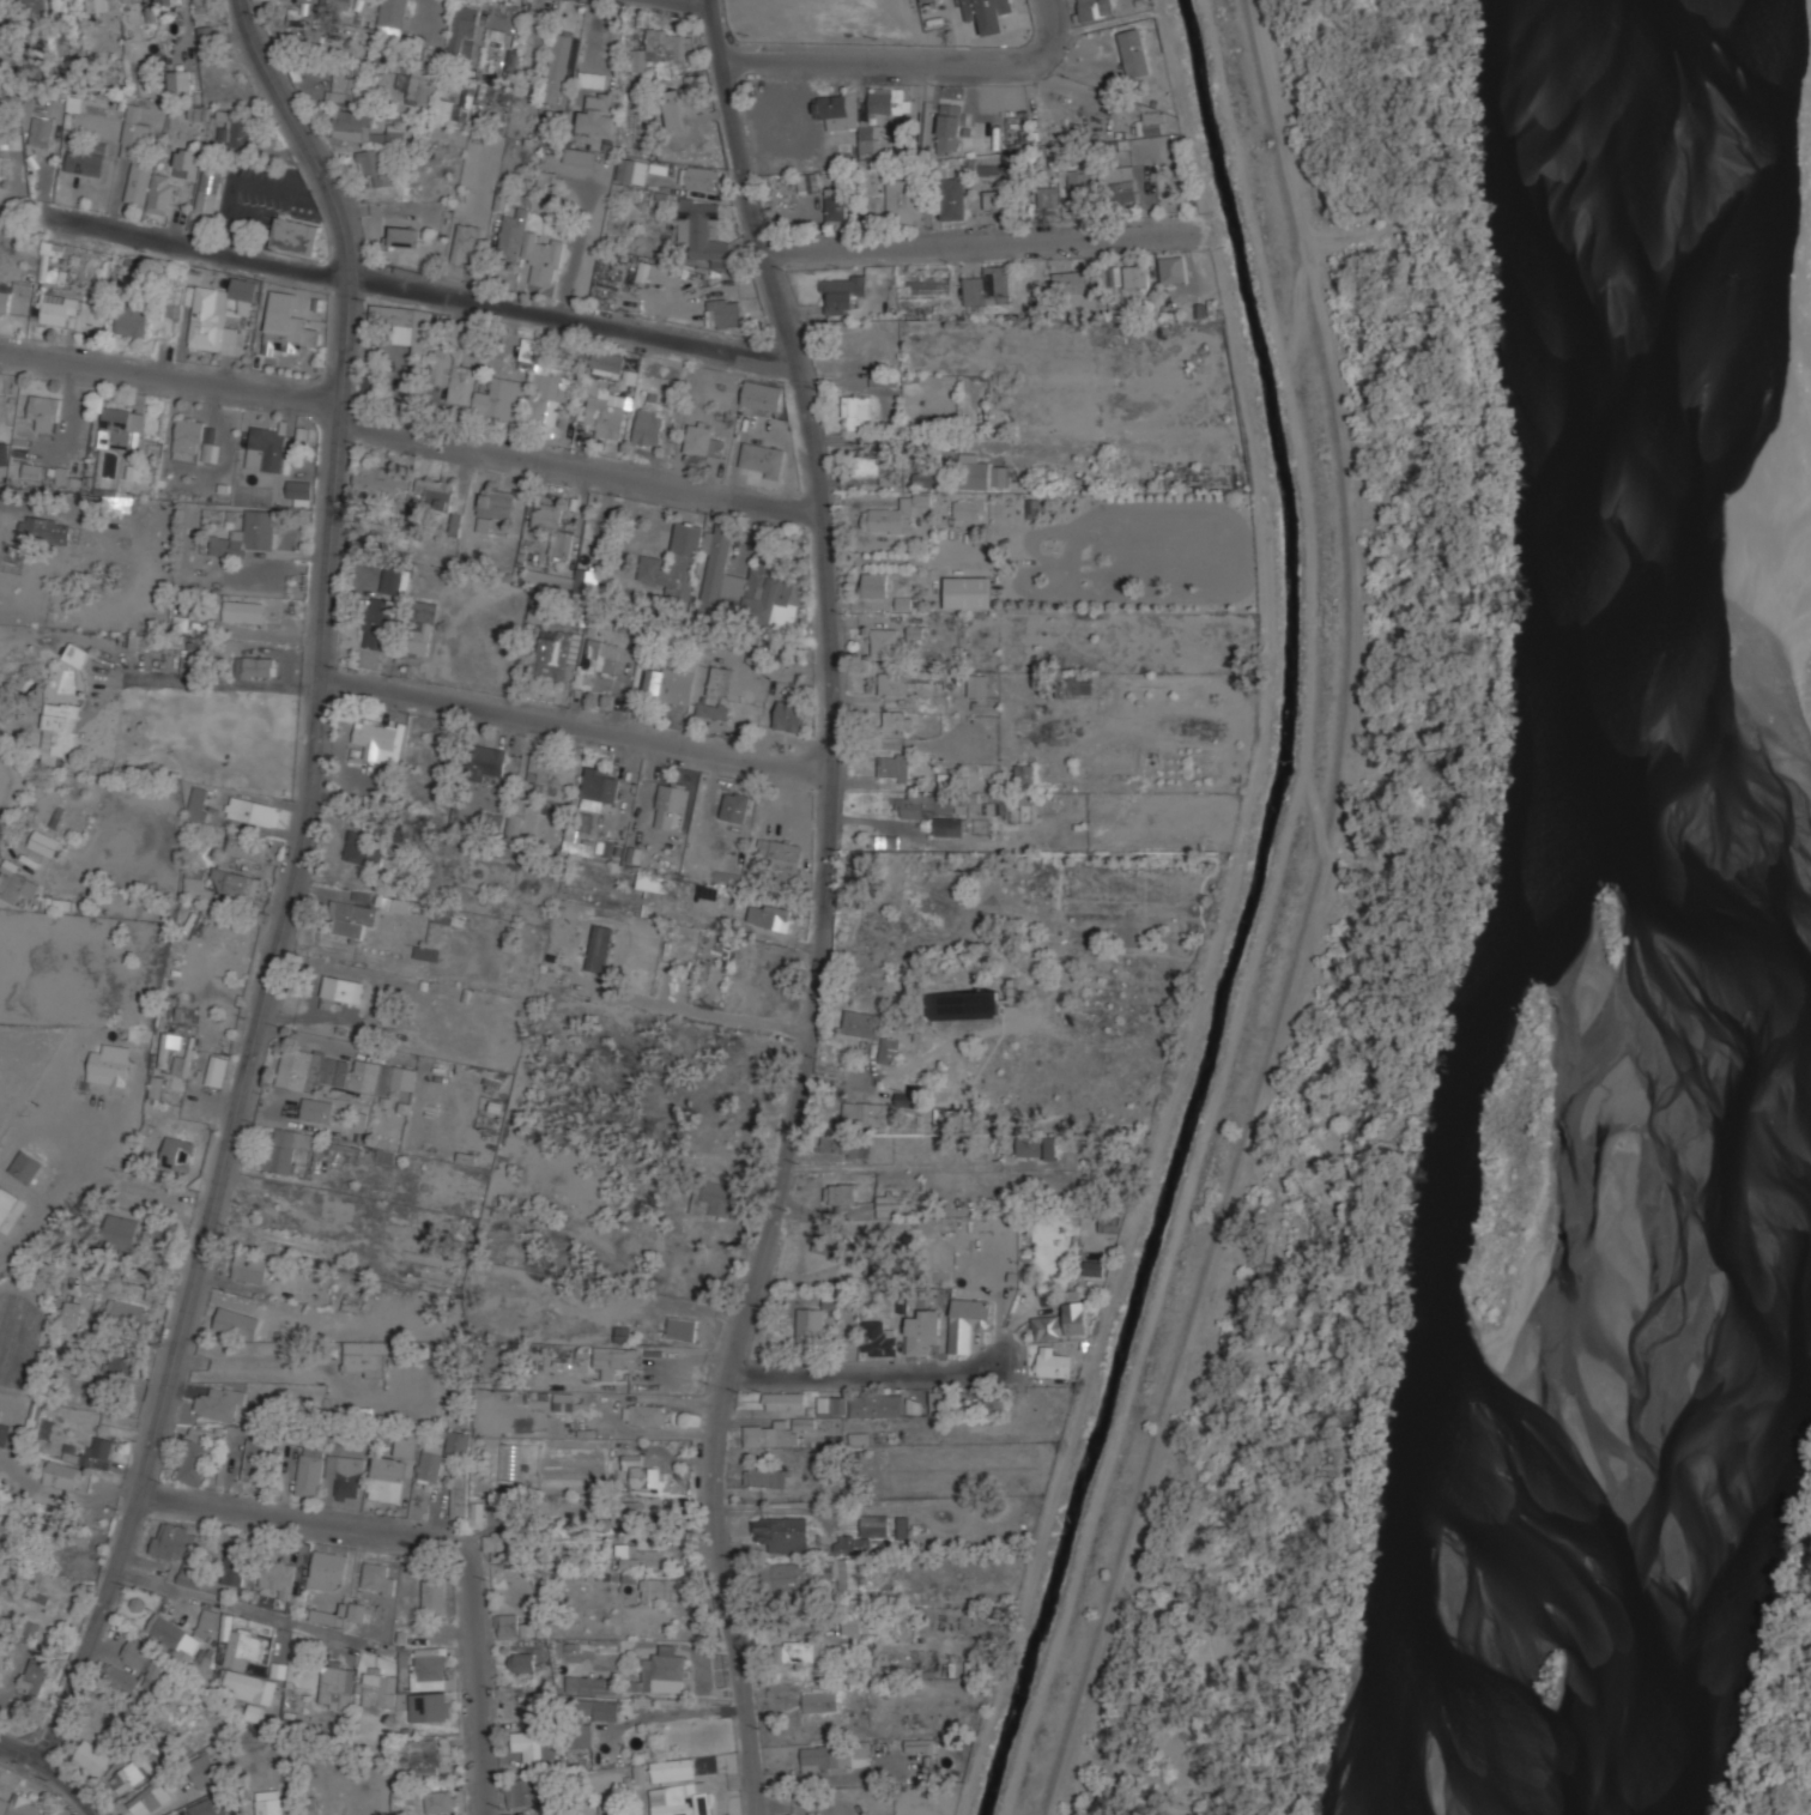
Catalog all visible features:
building: (131, 0)
building: (281, 0)
building: (166, 1)
building: (337, 1)
building: (60, 4)
road: (690, 4)
building: (97, 5)
building: (29, 6)
building: (204, 6)
building: (1096, 7)
building: (988, 13)
building: (504, 17)
building: (393, 19)
road: (1047, 25)
building: (465, 29)
building: (537, 31)
building: (205, 37)
building: (662, 47)
building: (1134, 52)
road: (880, 56)
building: (513, 60)
building: (558, 66)
building: (593, 78)
building: (181, 80)
building: (341, 86)
building: (422, 91)
building: (890, 98)
building: (460, 103)
building: (674, 107)
building: (598, 111)
building: (198, 114)
building: (844, 115)
building: (352, 122)
building: (1151, 122)
building: (951, 127)
building: (236, 128)
building: (43, 129)
building: (580, 156)
building: (85, 162)
building: (376, 164)
building: (152, 165)
building: (634, 169)
building: (698, 176)
building: (807, 182)
building: (1120, 182)
building: (1082, 183)
building: (210, 187)
building: (1048, 195)
building: (952, 196)
building: (994, 198)
building: (903, 200)
building: (836, 205)
building: (702, 229)
building: (297, 234)
building: (404, 238)
building: (467, 242)
road: (977, 242)
building: (531, 248)
building: (90, 265)
building: (1173, 267)
building: (644, 272)
building: (1135, 274)
building: (1071, 280)
road: (417, 285)
building: (988, 285)
building: (841, 291)
building: (5, 301)
building: (60, 308)
building: (727, 309)
building: (217, 313)
building: (133, 314)
building: (407, 321)
building: (289, 325)
building: (453, 332)
building: (472, 334)
building: (608, 361)
building: (453, 374)
building: (370, 377)
building: (544, 377)
building: (885, 380)
building: (762, 394)
building: (499, 397)
building: (604, 409)
building: (856, 410)
building: (44, 412)
building: (649, 425)
building: (121, 429)
building: (210, 435)
road: (406, 436)
building: (703, 438)
building: (187, 440)
building: (266, 449)
building: (211, 453)
building: (4, 454)
building: (763, 458)
building: (876, 466)
building: (31, 471)
building: (977, 473)
building: (1000, 474)
building: (65, 477)
building: (927, 478)
building: (378, 479)
building: (298, 489)
building: (435, 491)
building: (497, 504)
building: (970, 507)
building: (1036, 508)
building: (894, 514)
building: (483, 525)
building: (552, 525)
building: (44, 530)
building: (247, 536)
building: (723, 577)
building: (550, 579)
building: (587, 580)
building: (390, 582)
building: (873, 583)
building: (969, 591)
building: (243, 611)
building: (537, 611)
building: (377, 621)
building: (422, 625)
building: (885, 642)
building: (77, 655)
building: (547, 657)
building: (598, 665)
building: (254, 667)
building: (720, 682)
building: (894, 682)
building: (671, 683)
building: (977, 684)
building: (1078, 684)
building: (713, 708)
building: (789, 715)
building: (897, 721)
road: (576, 725)
building: (59, 732)
building: (376, 737)
building: (487, 760)
building: (895, 766)
building: (1024, 772)
building: (550, 773)
building: (602, 782)
building: (671, 801)
building: (198, 804)
building: (734, 809)
building: (932, 810)
building: (253, 811)
building: (514, 828)
building: (884, 840)
building: (43, 843)
building: (576, 845)
building: (363, 846)
building: (246, 848)
building: (782, 855)
building: (653, 881)
building: (14, 882)
road: (293, 882)
building: (235, 883)
building: (195, 885)
building: (393, 902)
road: (826, 908)
building: (442, 915)
building: (351, 916)
building: (769, 916)
river: (1696, 916)
road: (1435, 919)
building: (599, 952)
building: (426, 954)
building: (344, 987)
building: (965, 1004)
building: (862, 1022)
building: (889, 1048)
building: (109, 1065)
building: (183, 1066)
building: (341, 1070)
building: (156, 1088)
building: (907, 1097)
building: (317, 1109)
building: (866, 1113)
building: (941, 1117)
building: (959, 1117)
building: (846, 1145)
building: (289, 1147)
building: (1037, 1147)
building: (177, 1154)
building: (383, 1154)
building: (25, 1167)
building: (842, 1192)
building: (714, 1197)
building: (889, 1204)
building: (8, 1208)
building: (1112, 1220)
building: (120, 1232)
building: (157, 1232)
building: (289, 1240)
building: (250, 1268)
building: (1094, 1269)
building: (72, 1314)
building: (128, 1315)
building: (412, 1318)
building: (1065, 1318)
building: (237, 1320)
building: (968, 1321)
building: (812, 1323)
building: (683, 1326)
building: (923, 1330)
building: (878, 1337)
building: (367, 1356)
building: (614, 1357)
building: (121, 1360)
building: (1054, 1361)
road: (923, 1371)
building: (81, 1399)
building: (564, 1399)
building: (783, 1399)
building: (939, 1399)
building: (219, 1402)
building: (877, 1403)
building: (997, 1403)
building: (834, 1404)
building: (646, 1412)
building: (804, 1423)
building: (770, 1433)
building: (4, 1434)
building: (859, 1439)
building: (459, 1440)
building: (196, 1452)
building: (91, 1453)
building: (254, 1459)
building: (509, 1459)
building: (430, 1460)
building: (394, 1469)
building: (309, 1470)
building: (646, 1472)
building: (763, 1474)
building: (62, 1475)
building: (346, 1475)
building: (459, 1494)
building: (628, 1510)
building: (478, 1513)
building: (874, 1523)
building: (781, 1532)
building: (172, 1539)
road: (431, 1539)
building: (846, 1542)
building: (495, 1544)
building: (641, 1554)
building: (235, 1563)
building: (327, 1569)
building: (847, 1571)
building: (786, 1577)
building: (377, 1578)
building: (283, 1581)
building: (660, 1587)
building: (435, 1593)
road: (250, 1609)
building: (353, 1610)
building: (856, 1622)
building: (515, 1626)
building: (30, 1629)
building: (180, 1634)
building: (240, 1642)
building: (799, 1650)
building: (146, 1659)
building: (522, 1660)
building: (429, 1663)
building: (662, 1670)
building: (120, 1676)
building: (34, 1677)
building: (587, 1683)
building: (337, 1684)
building: (250, 1686)
building: (380, 1687)
building: (820, 1700)
building: (430, 1706)
building: (599, 1707)
road: (674, 1713)
building: (583, 1735)
building: (532, 1747)
road: (24, 1748)
building: (836, 1755)
building: (92, 1756)
building: (429, 1757)
building: (204, 1768)
building: (132, 1773)
road: (825, 1777)
road: (717, 1781)
road: (73, 1786)
building: (679, 1787)
building: (525, 1790)
building: (147, 1798)
building: (442, 1801)
building: (269, 1802)
road: (636, 1803)
building: (20, 1804)
building: (204, 1807)

